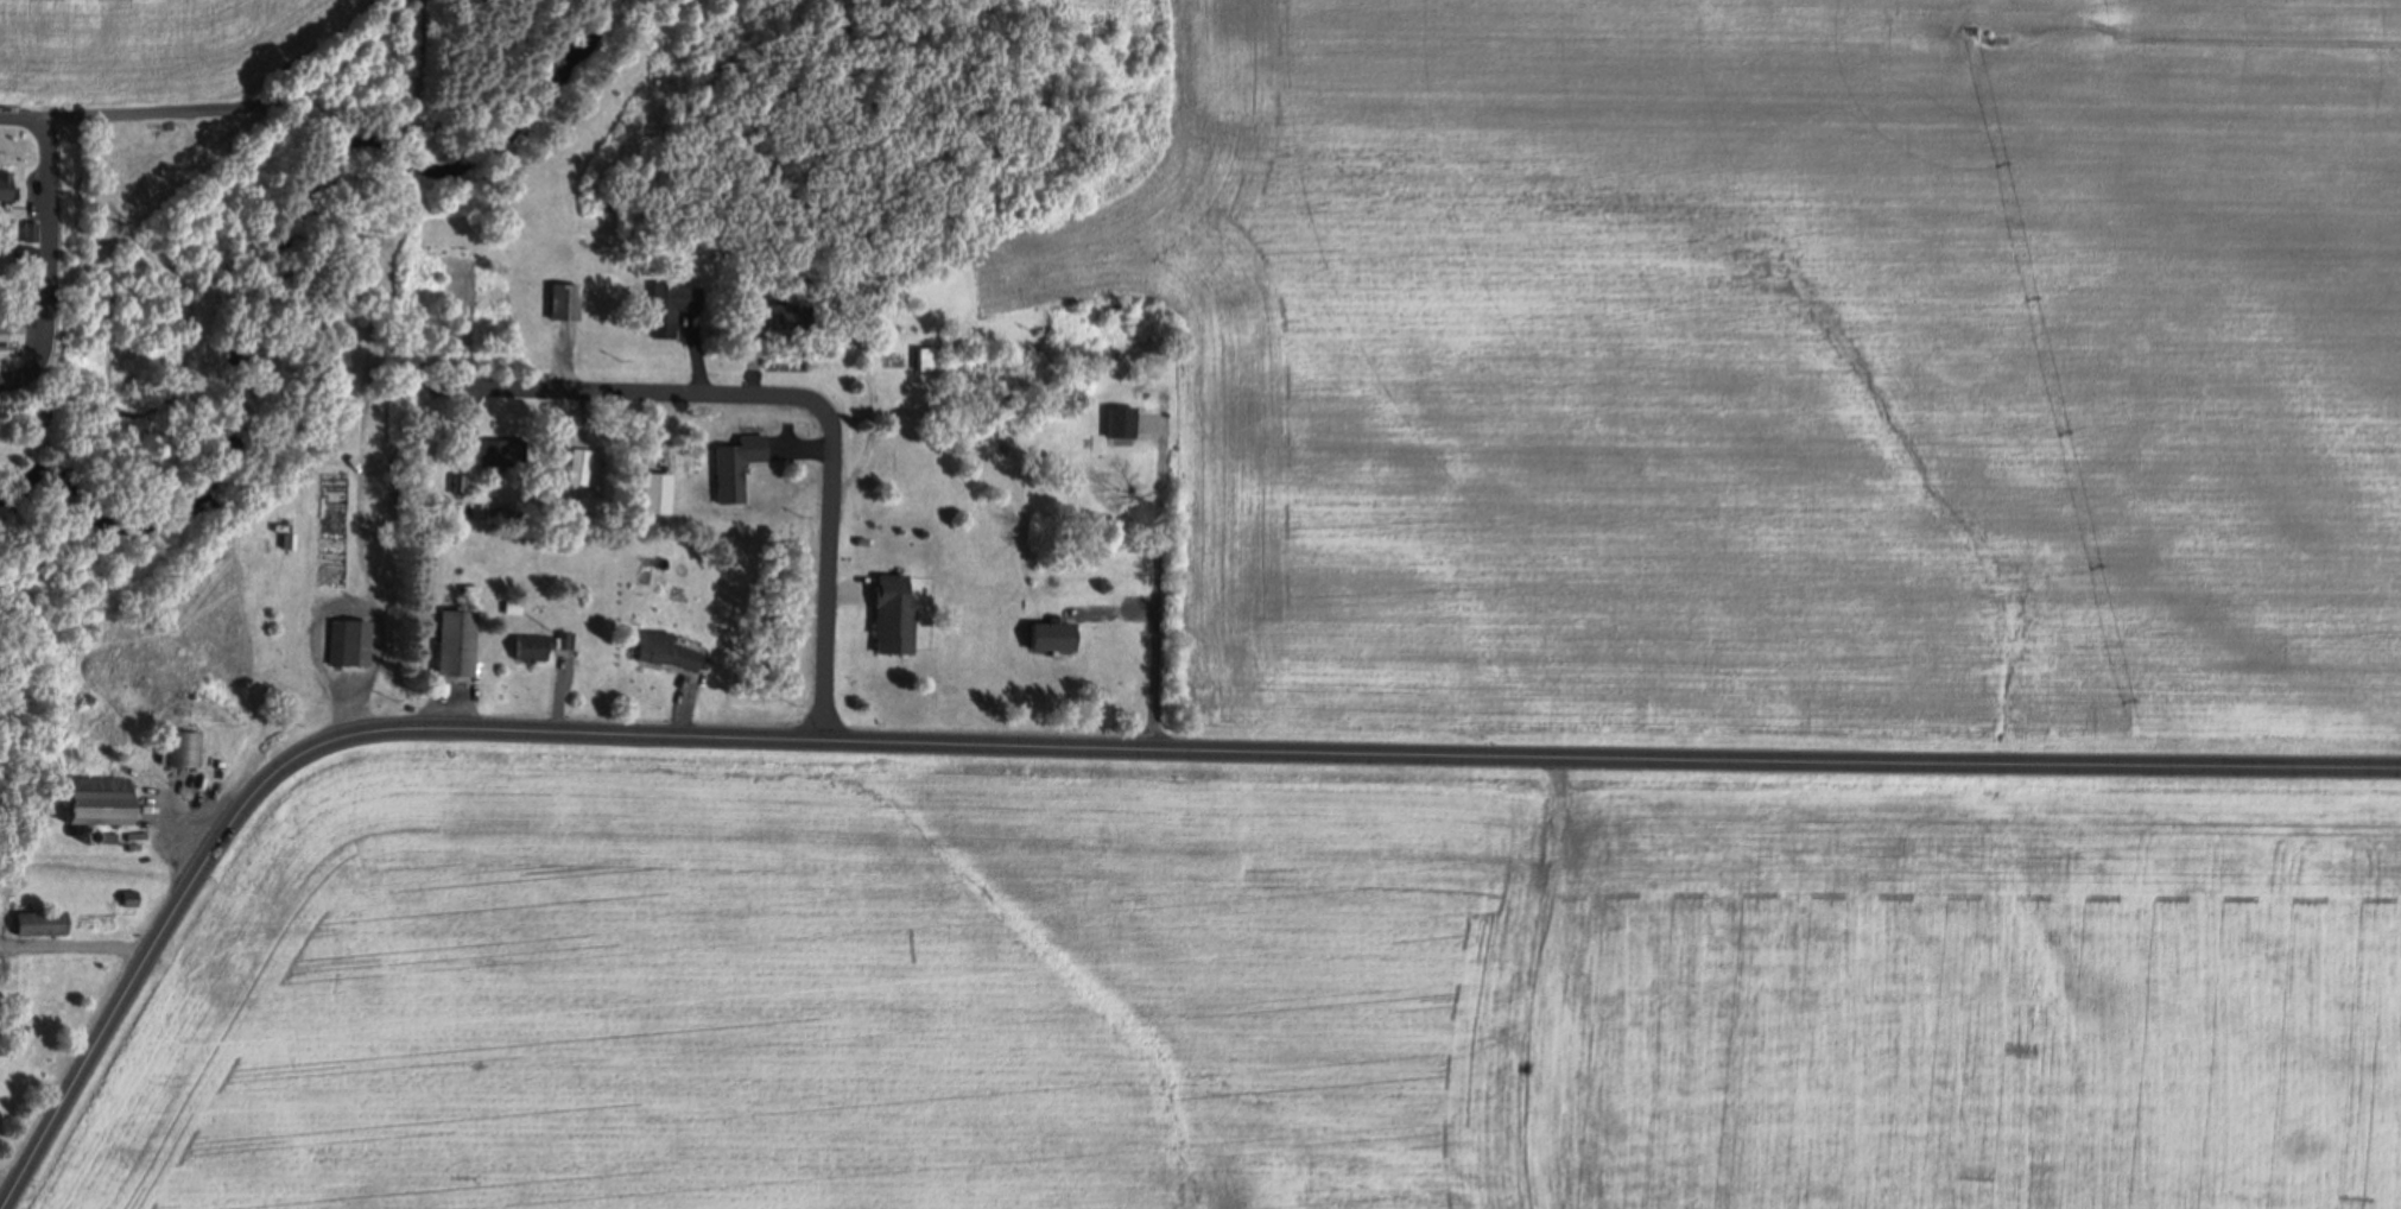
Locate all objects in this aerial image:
road: (239, 105)
road: (24, 119)
building: (5, 188)
building: (30, 232)
road: (47, 255)
building: (28, 257)
building: (563, 299)
building: (671, 309)
building: (8, 325)
building: (926, 355)
road: (9, 380)
road: (626, 386)
building: (1111, 441)
building: (469, 449)
building: (575, 466)
building: (597, 473)
building: (287, 540)
road: (832, 561)
building: (895, 612)
building: (348, 640)
building: (457, 643)
building: (544, 645)
building: (665, 650)
road: (1073, 743)
building: (186, 748)
building: (95, 799)
building: (128, 897)
building: (38, 922)
road: (75, 947)

